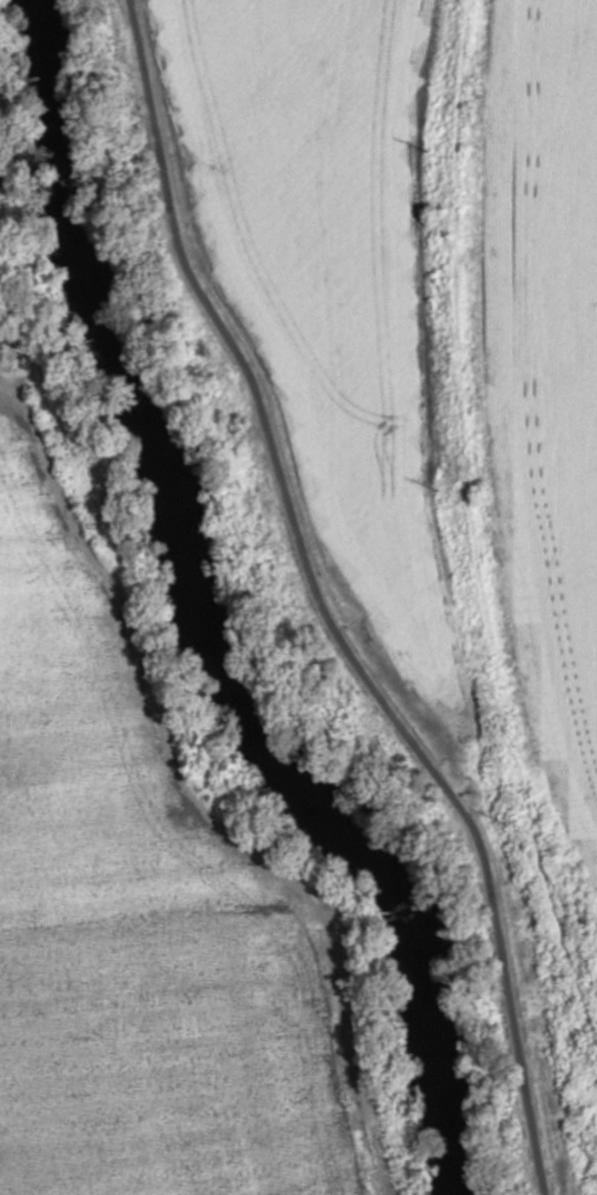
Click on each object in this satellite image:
building: (17, 5)
power tower: (426, 150)
power tower: (437, 487)
railway: (472, 526)
power tower: (505, 822)
road: (136, 932)

